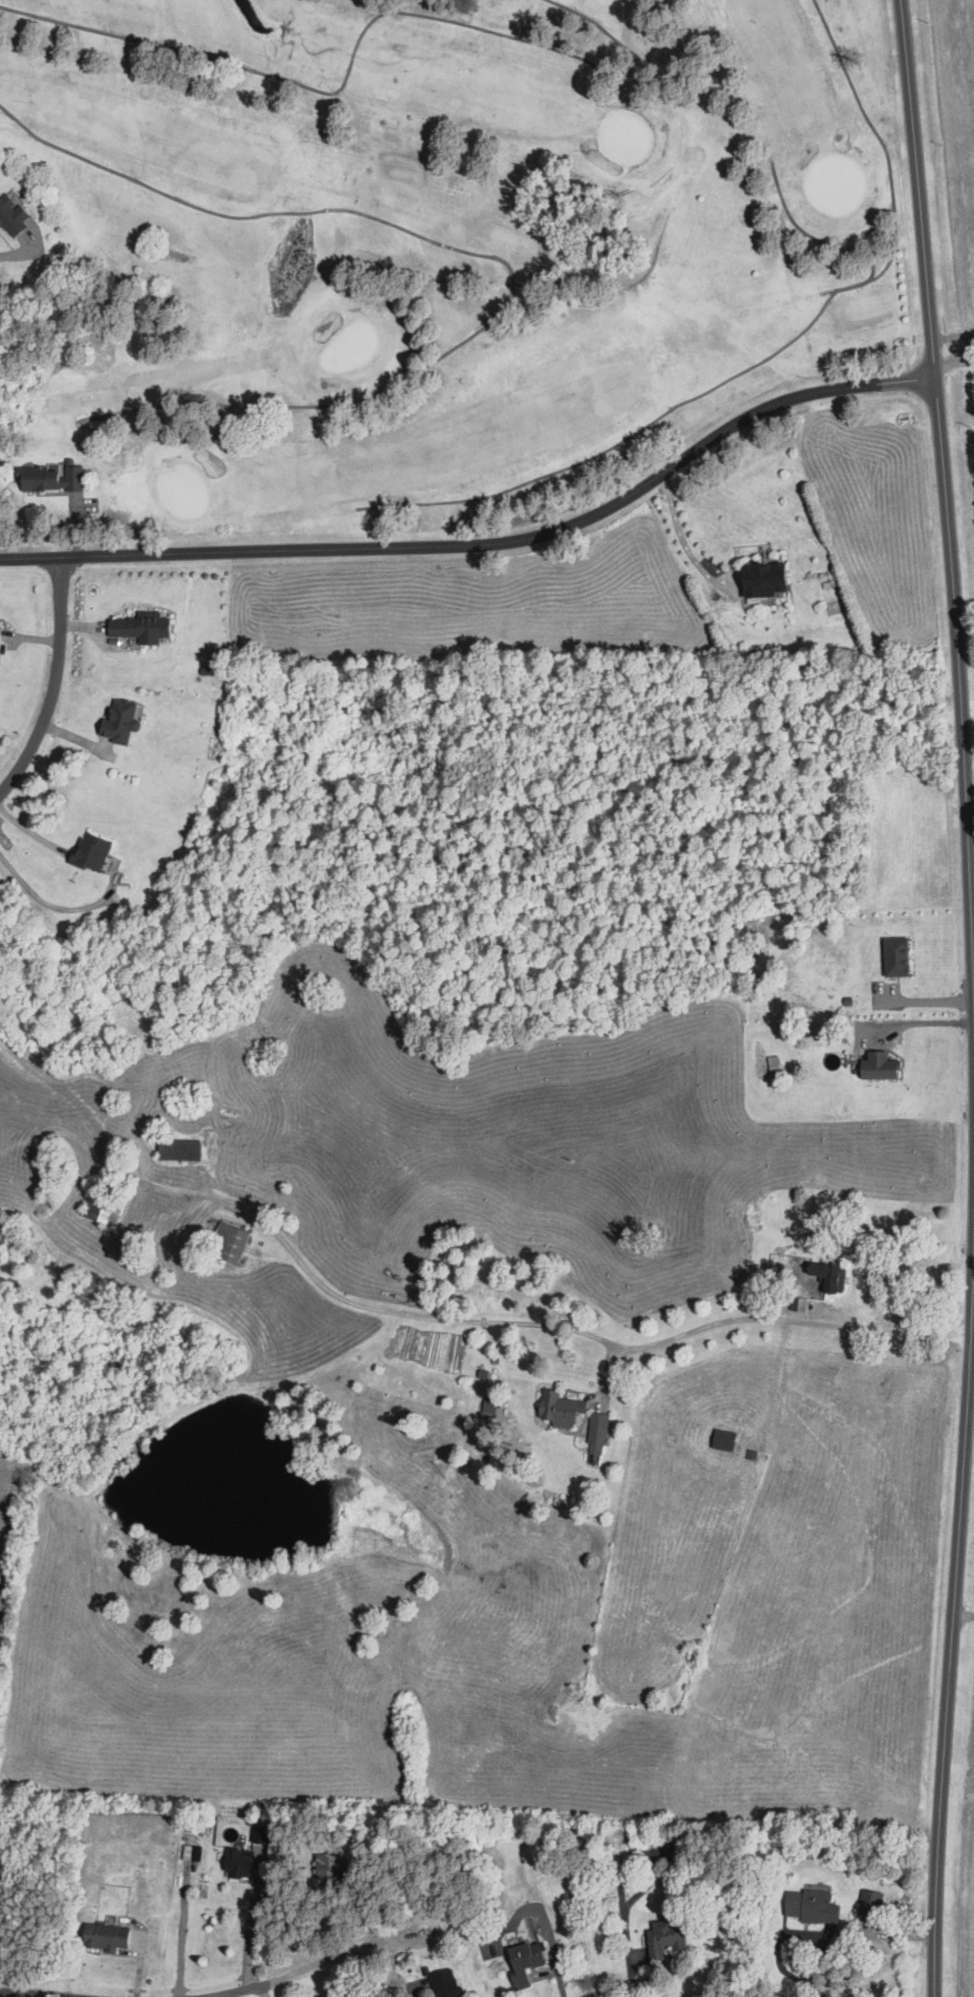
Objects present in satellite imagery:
building: (10, 216)
park: (443, 240)
road: (19, 255)
road: (954, 362)
building: (50, 479)
road: (945, 488)
road: (681, 539)
road: (486, 543)
building: (763, 579)
building: (141, 627)
road: (52, 686)
building: (119, 722)
road: (969, 745)
road: (969, 803)
building: (90, 853)
road: (972, 907)
building: (896, 957)
road: (926, 1000)
road: (925, 1022)
building: (879, 1067)
building: (186, 1099)
building: (179, 1149)
building: (101, 1210)
road: (267, 1220)
building: (228, 1243)
building: (825, 1276)
road: (678, 1337)
building: (560, 1410)
building: (598, 1423)
building: (724, 1441)
road: (963, 1616)
road: (951, 1630)
building: (260, 1834)
building: (675, 1847)
building: (239, 1863)
building: (330, 1865)
building: (870, 1902)
building: (811, 1906)
road: (246, 1930)
road: (791, 1931)
road: (868, 1934)
building: (105, 1936)
building: (664, 1938)
building: (524, 1959)
road: (317, 1968)
road: (631, 1972)
building: (444, 1983)
road: (817, 1990)
road: (30, 1993)

